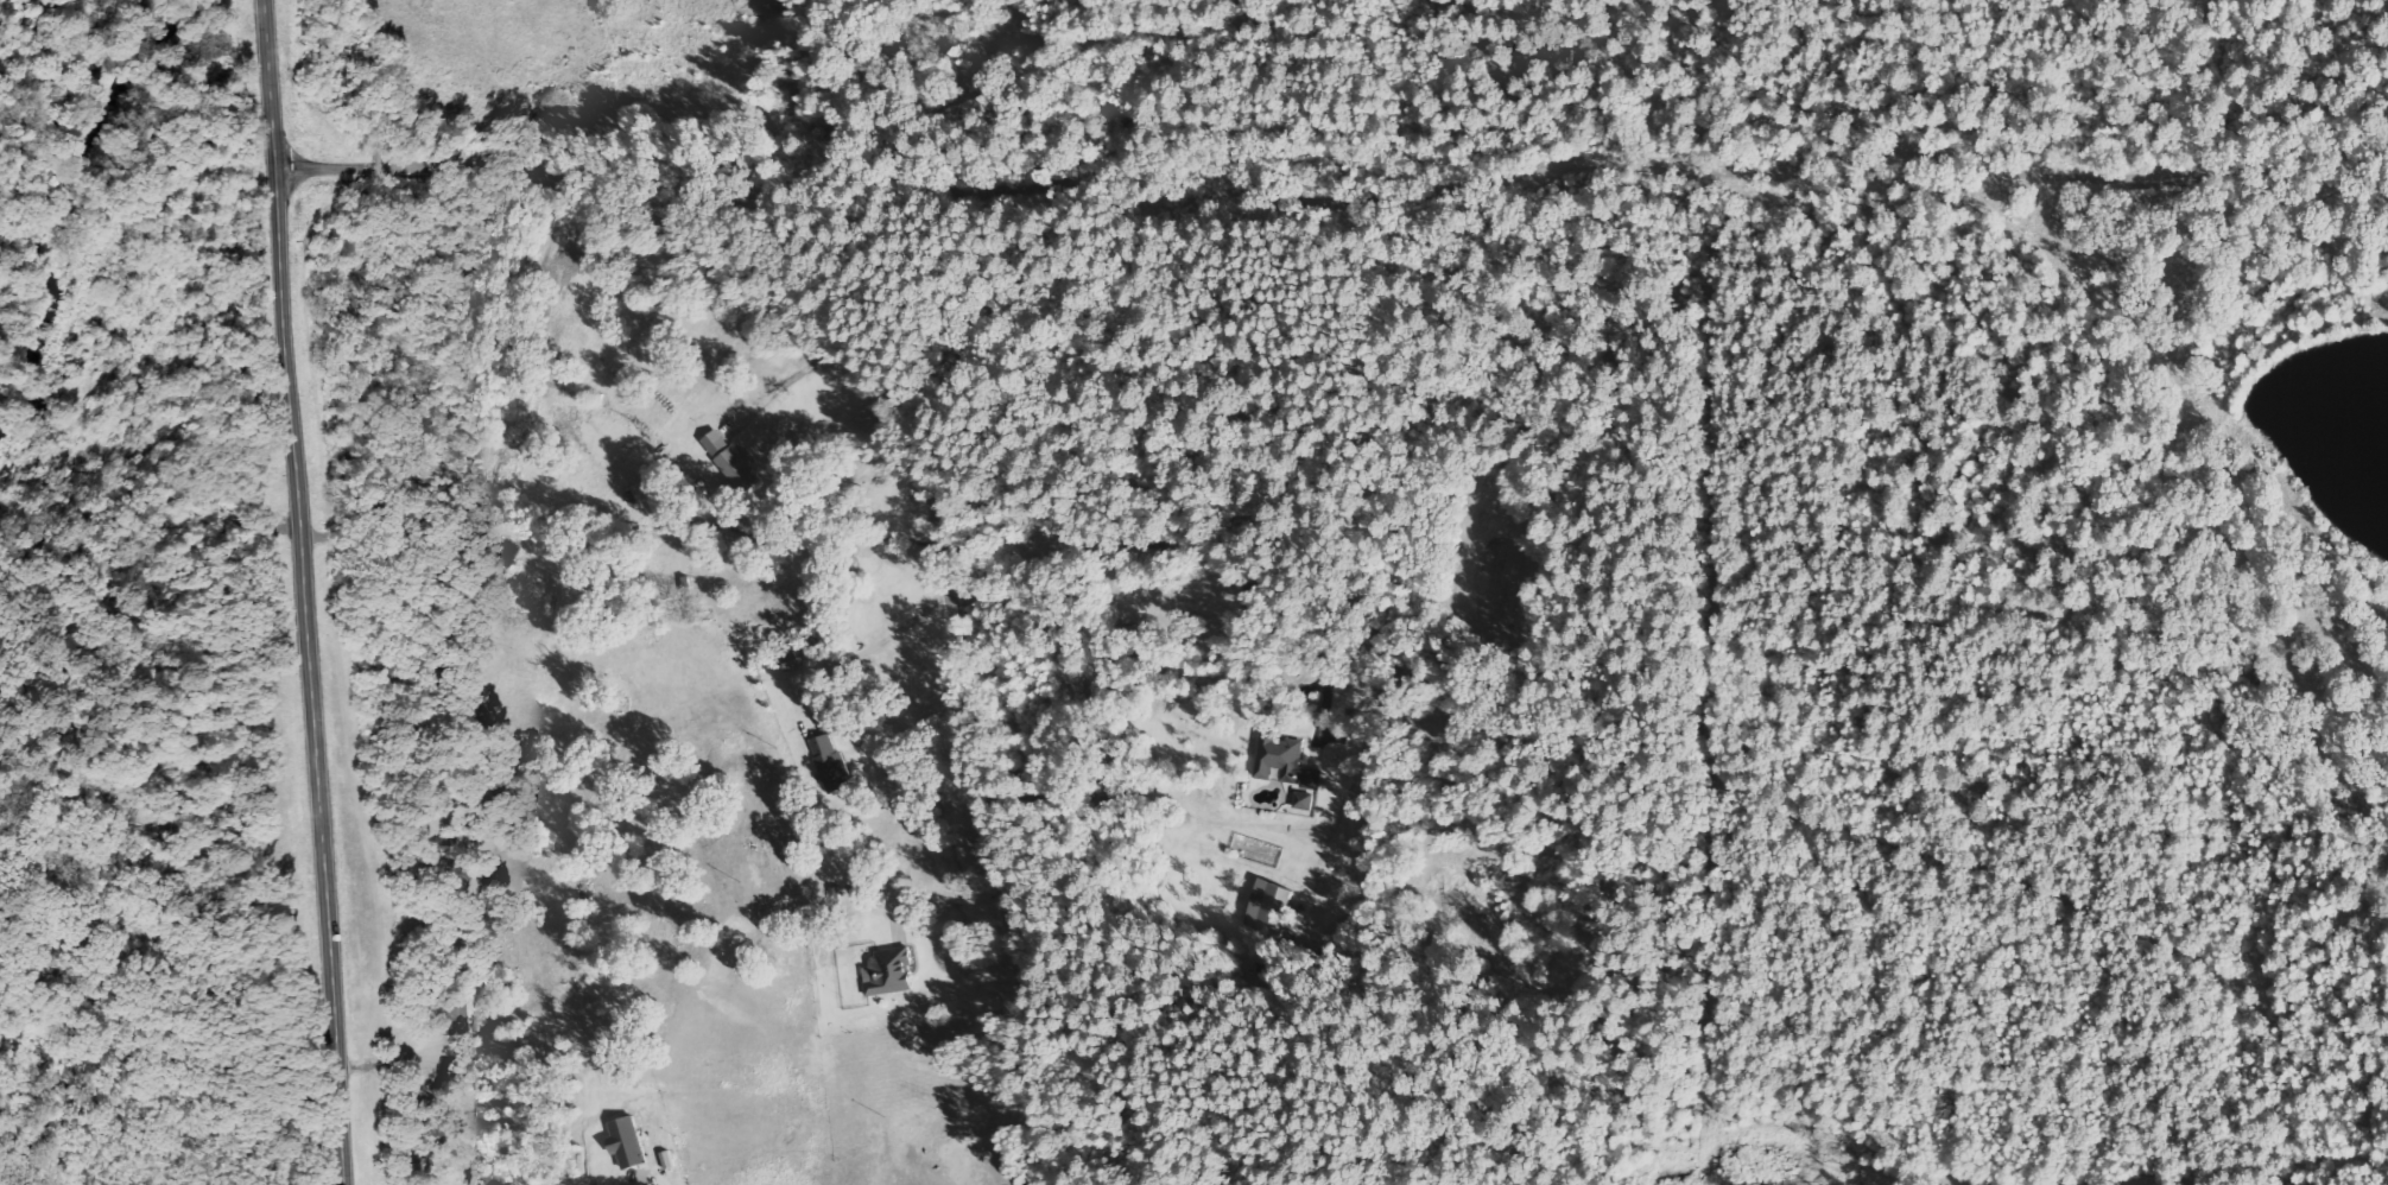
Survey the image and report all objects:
road: (911, 460)
building: (734, 461)
road: (308, 591)
building: (794, 654)
building: (830, 758)
building: (1285, 760)
building: (1305, 799)
building: (1266, 906)
building: (891, 971)
building: (629, 1141)

